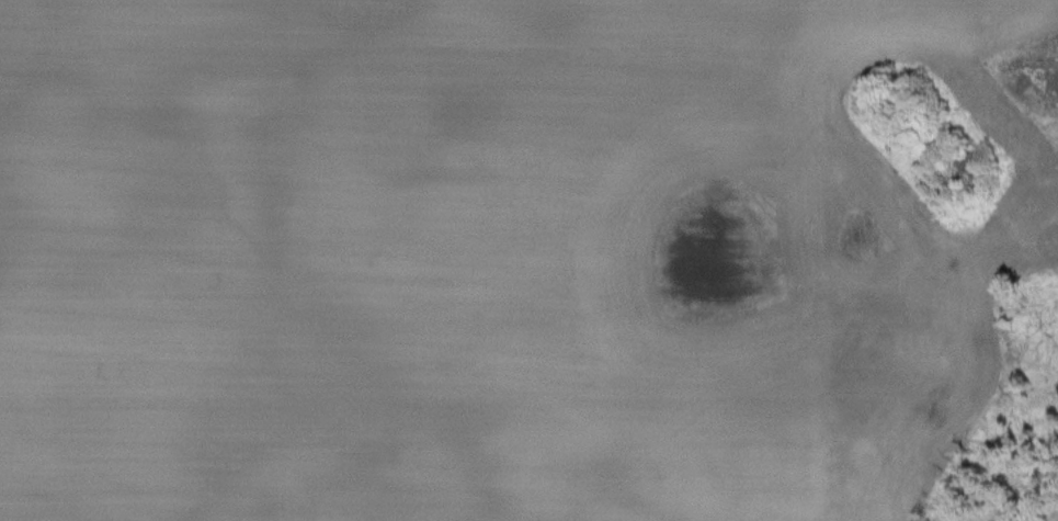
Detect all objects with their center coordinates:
building: (963, 165)

